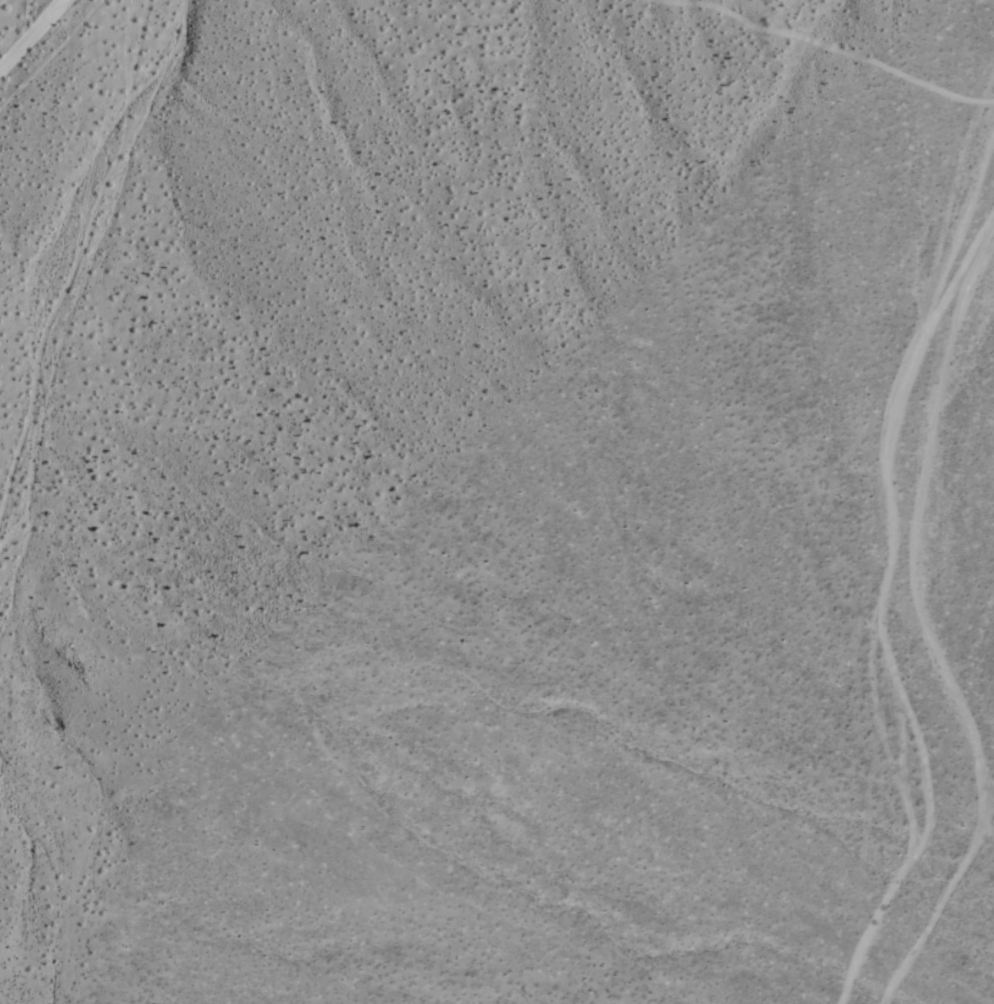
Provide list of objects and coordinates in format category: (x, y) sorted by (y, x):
road: (27, 28)
road: (954, 609)

